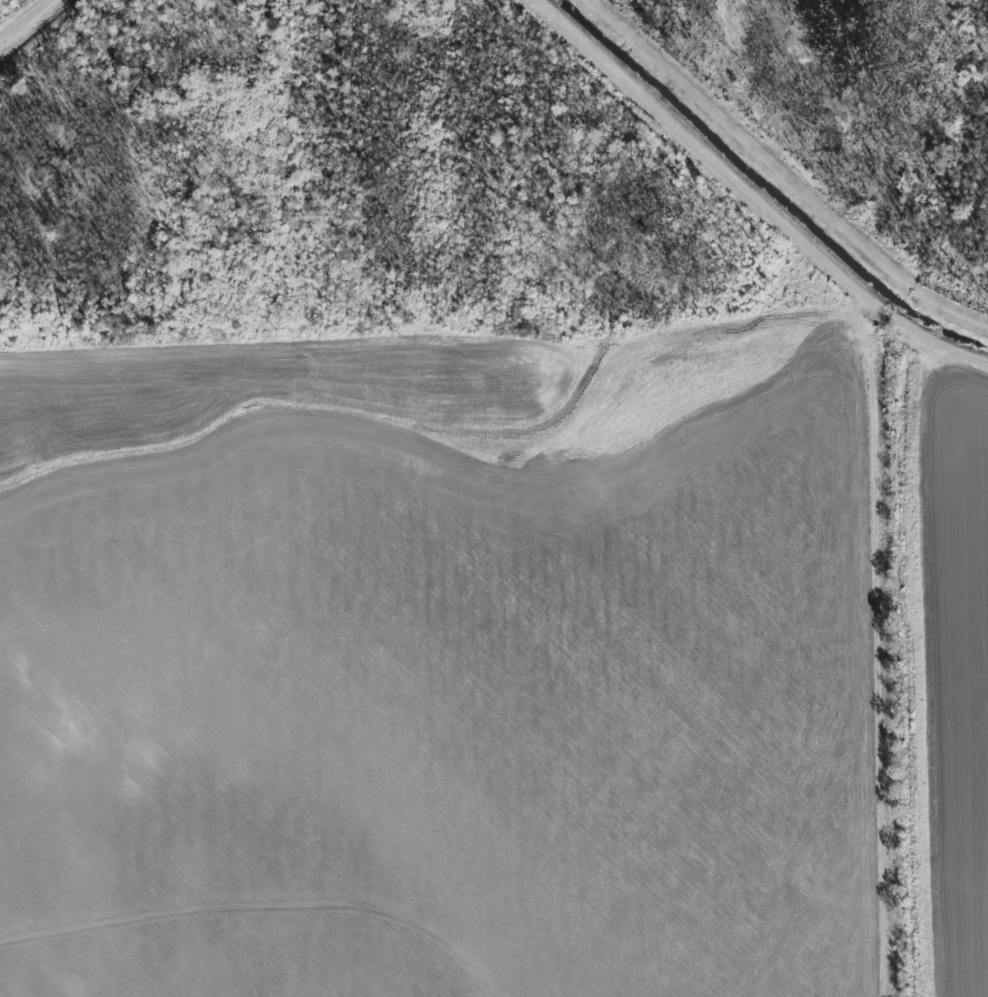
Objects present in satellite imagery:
road: (785, 174)
road: (753, 196)
road: (929, 672)

